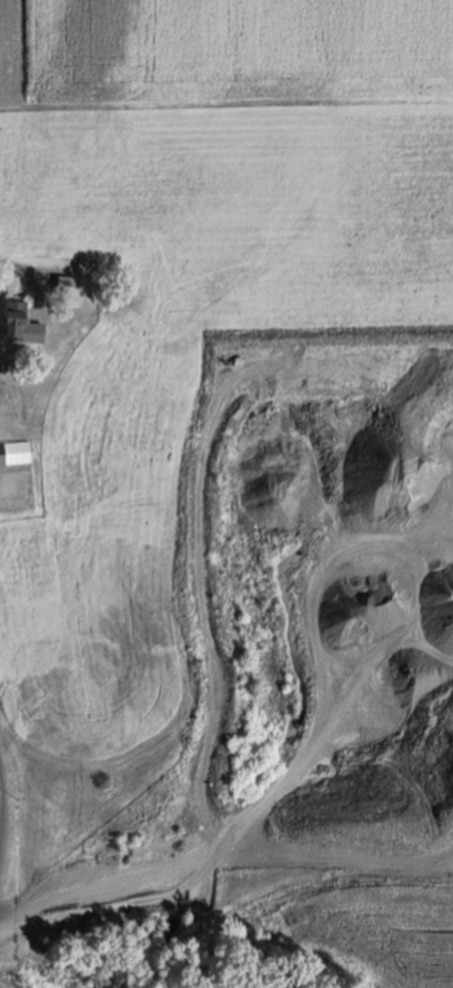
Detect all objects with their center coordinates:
road: (13, 268)
building: (65, 285)
building: (14, 320)
building: (13, 452)
quarry: (259, 777)
road: (5, 815)

